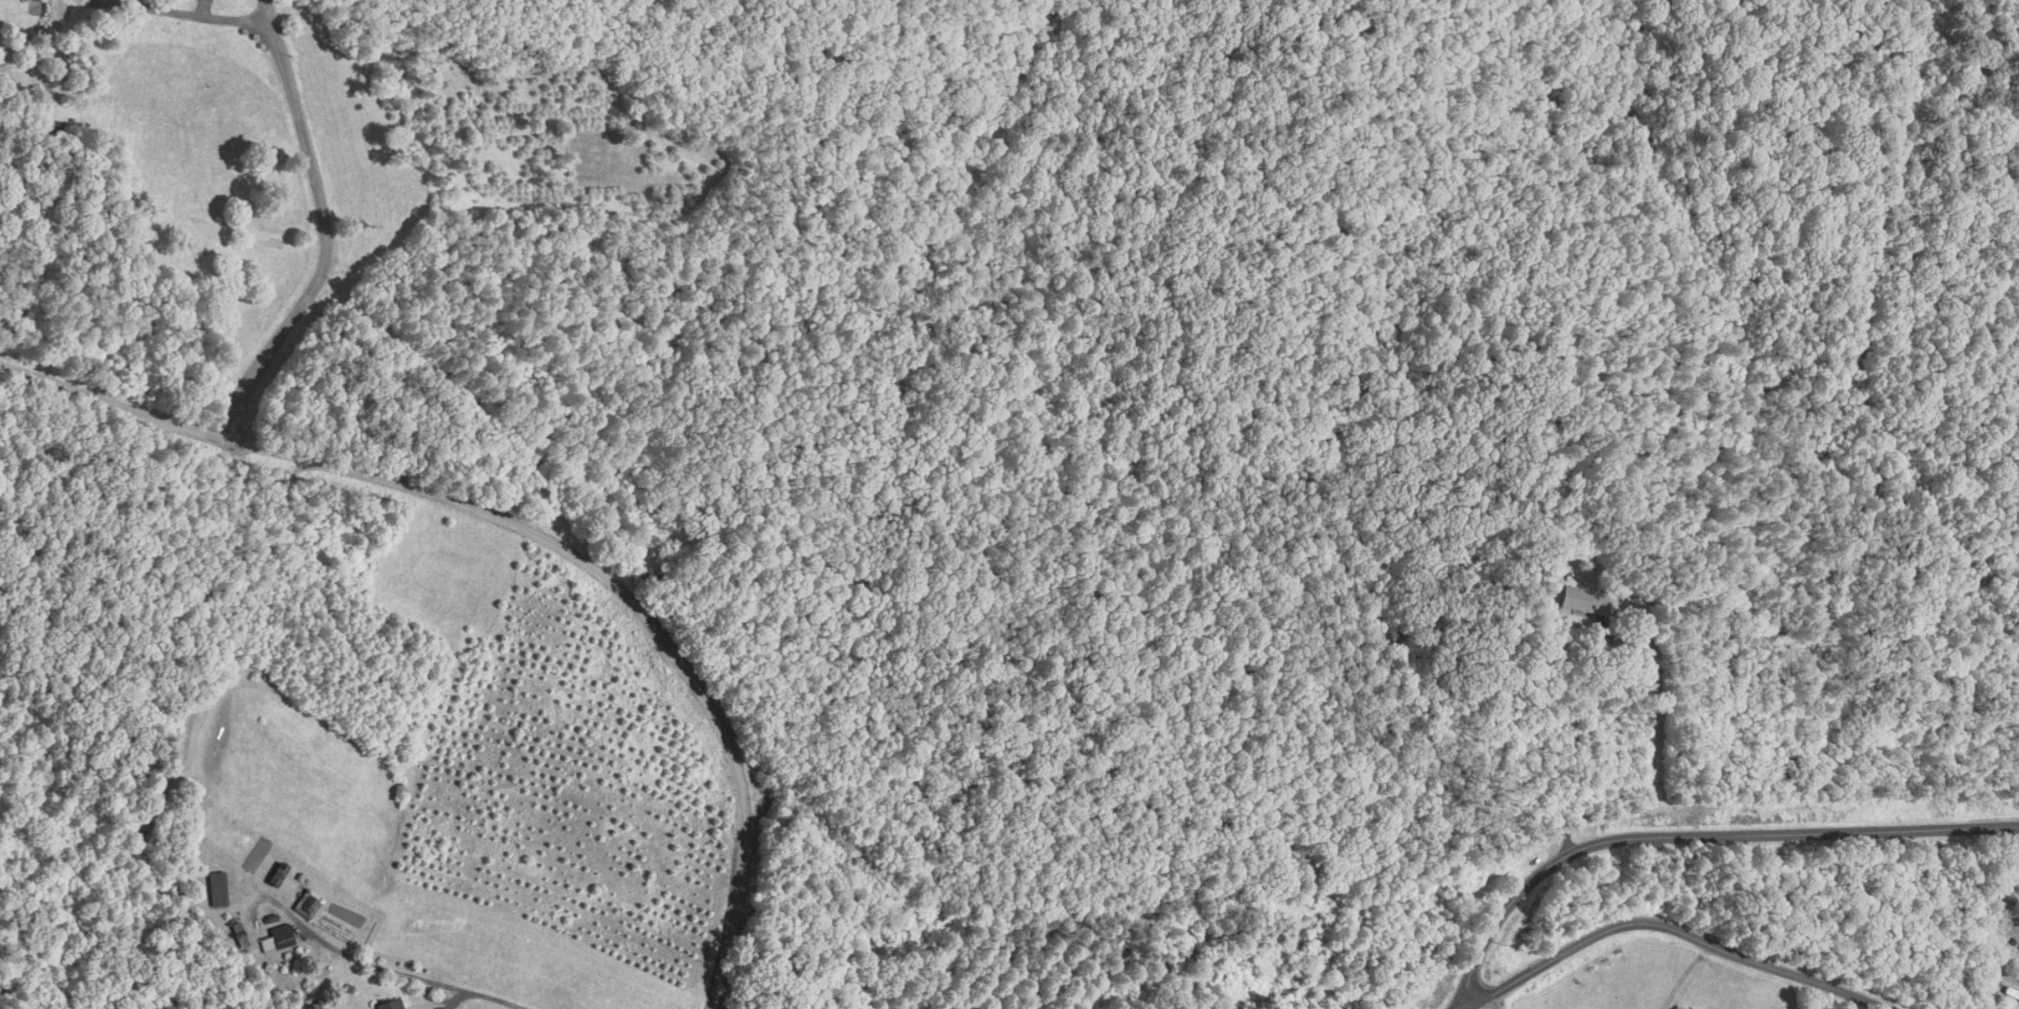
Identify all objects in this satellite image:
building: (39, 1)
road: (2016, 2)
road: (193, 12)
road: (323, 228)
road: (537, 533)
building: (1571, 601)
road: (1580, 740)
road: (1699, 832)
building: (2017, 875)
building: (218, 890)
road: (1674, 926)
building: (276, 939)
building: (2009, 994)
road: (491, 997)
road: (1492, 1001)
building: (392, 1004)

